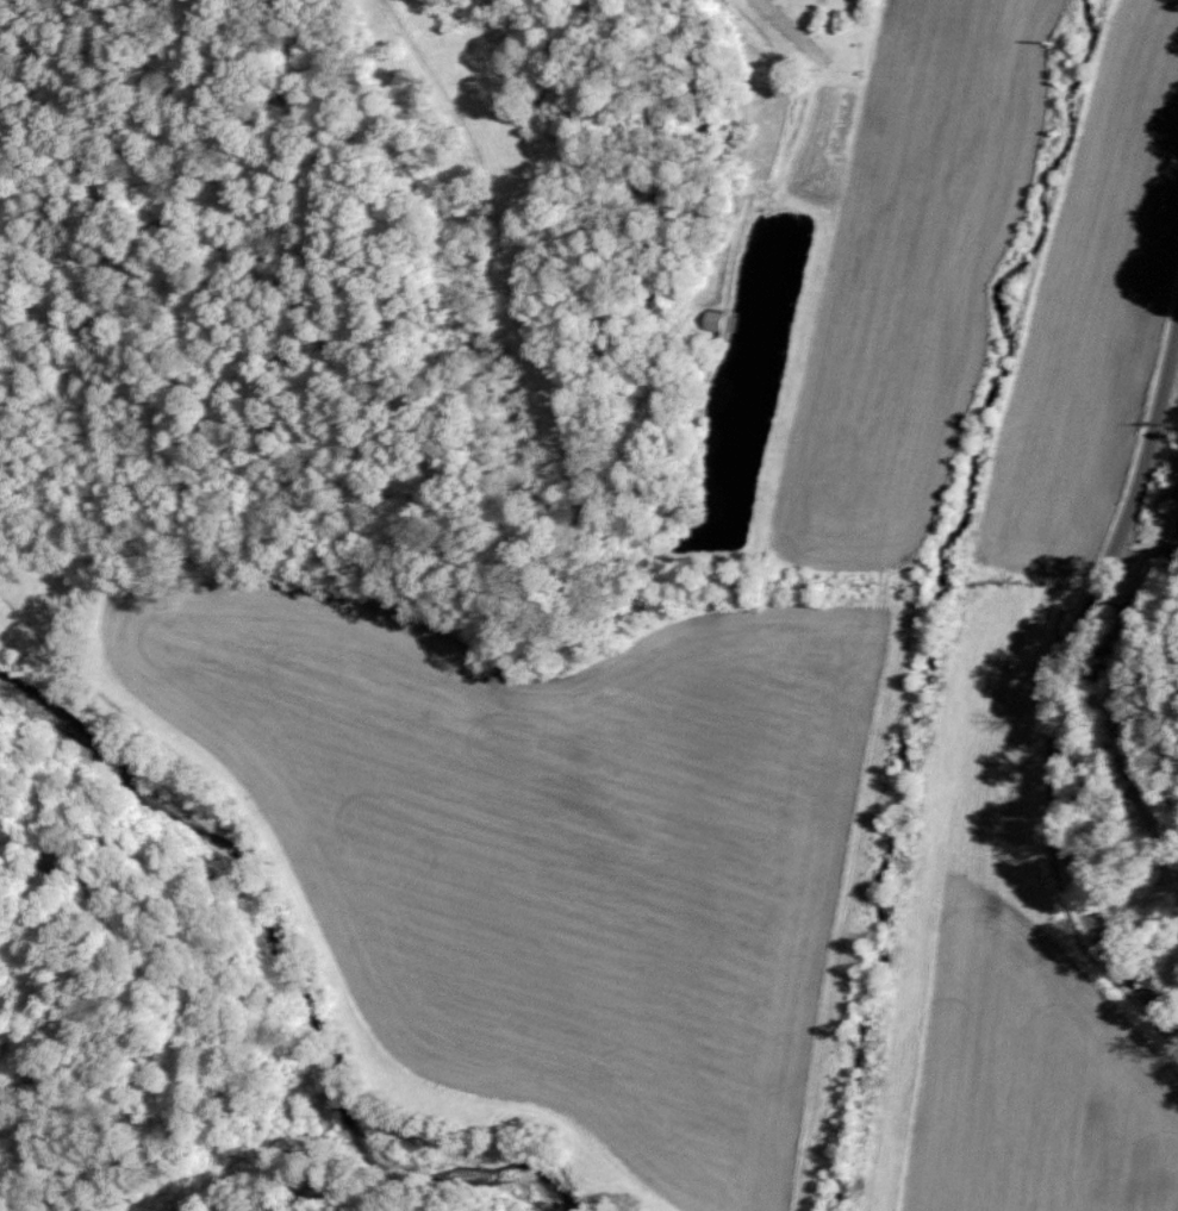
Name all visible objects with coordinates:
building: (715, 318)
building: (1177, 520)
road: (1074, 687)

